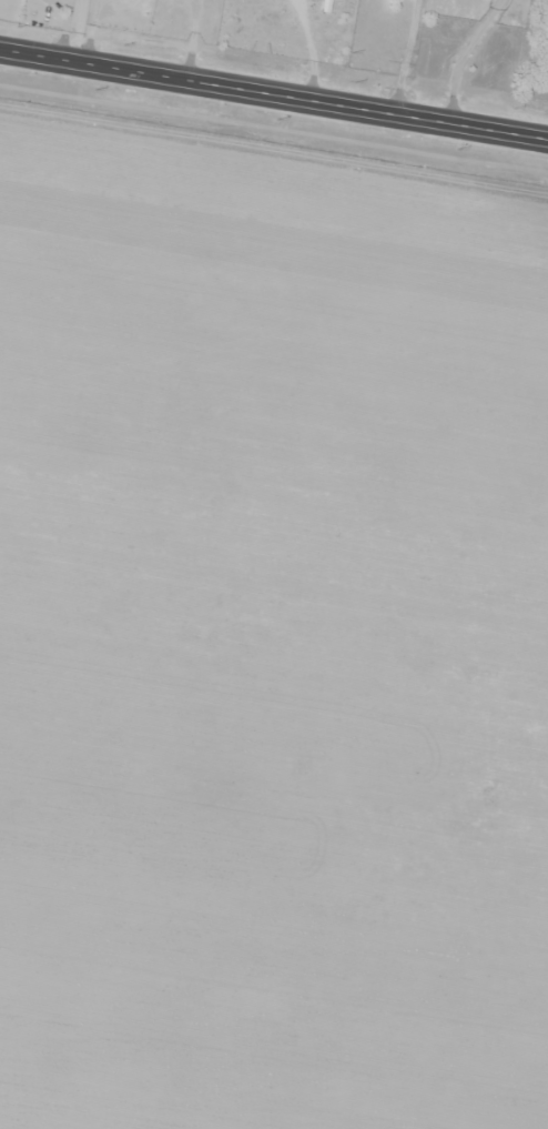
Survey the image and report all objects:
road: (274, 93)

